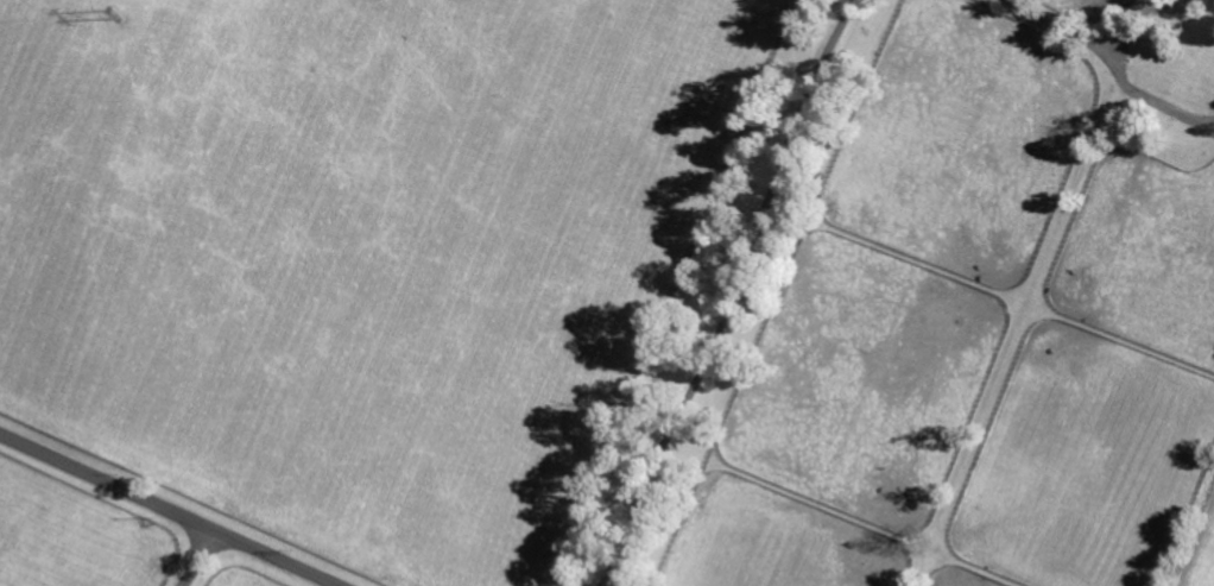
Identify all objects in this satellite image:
power tower: (116, 14)
road: (1104, 53)
road: (1153, 100)
road: (733, 294)
road: (170, 508)
road: (203, 559)

